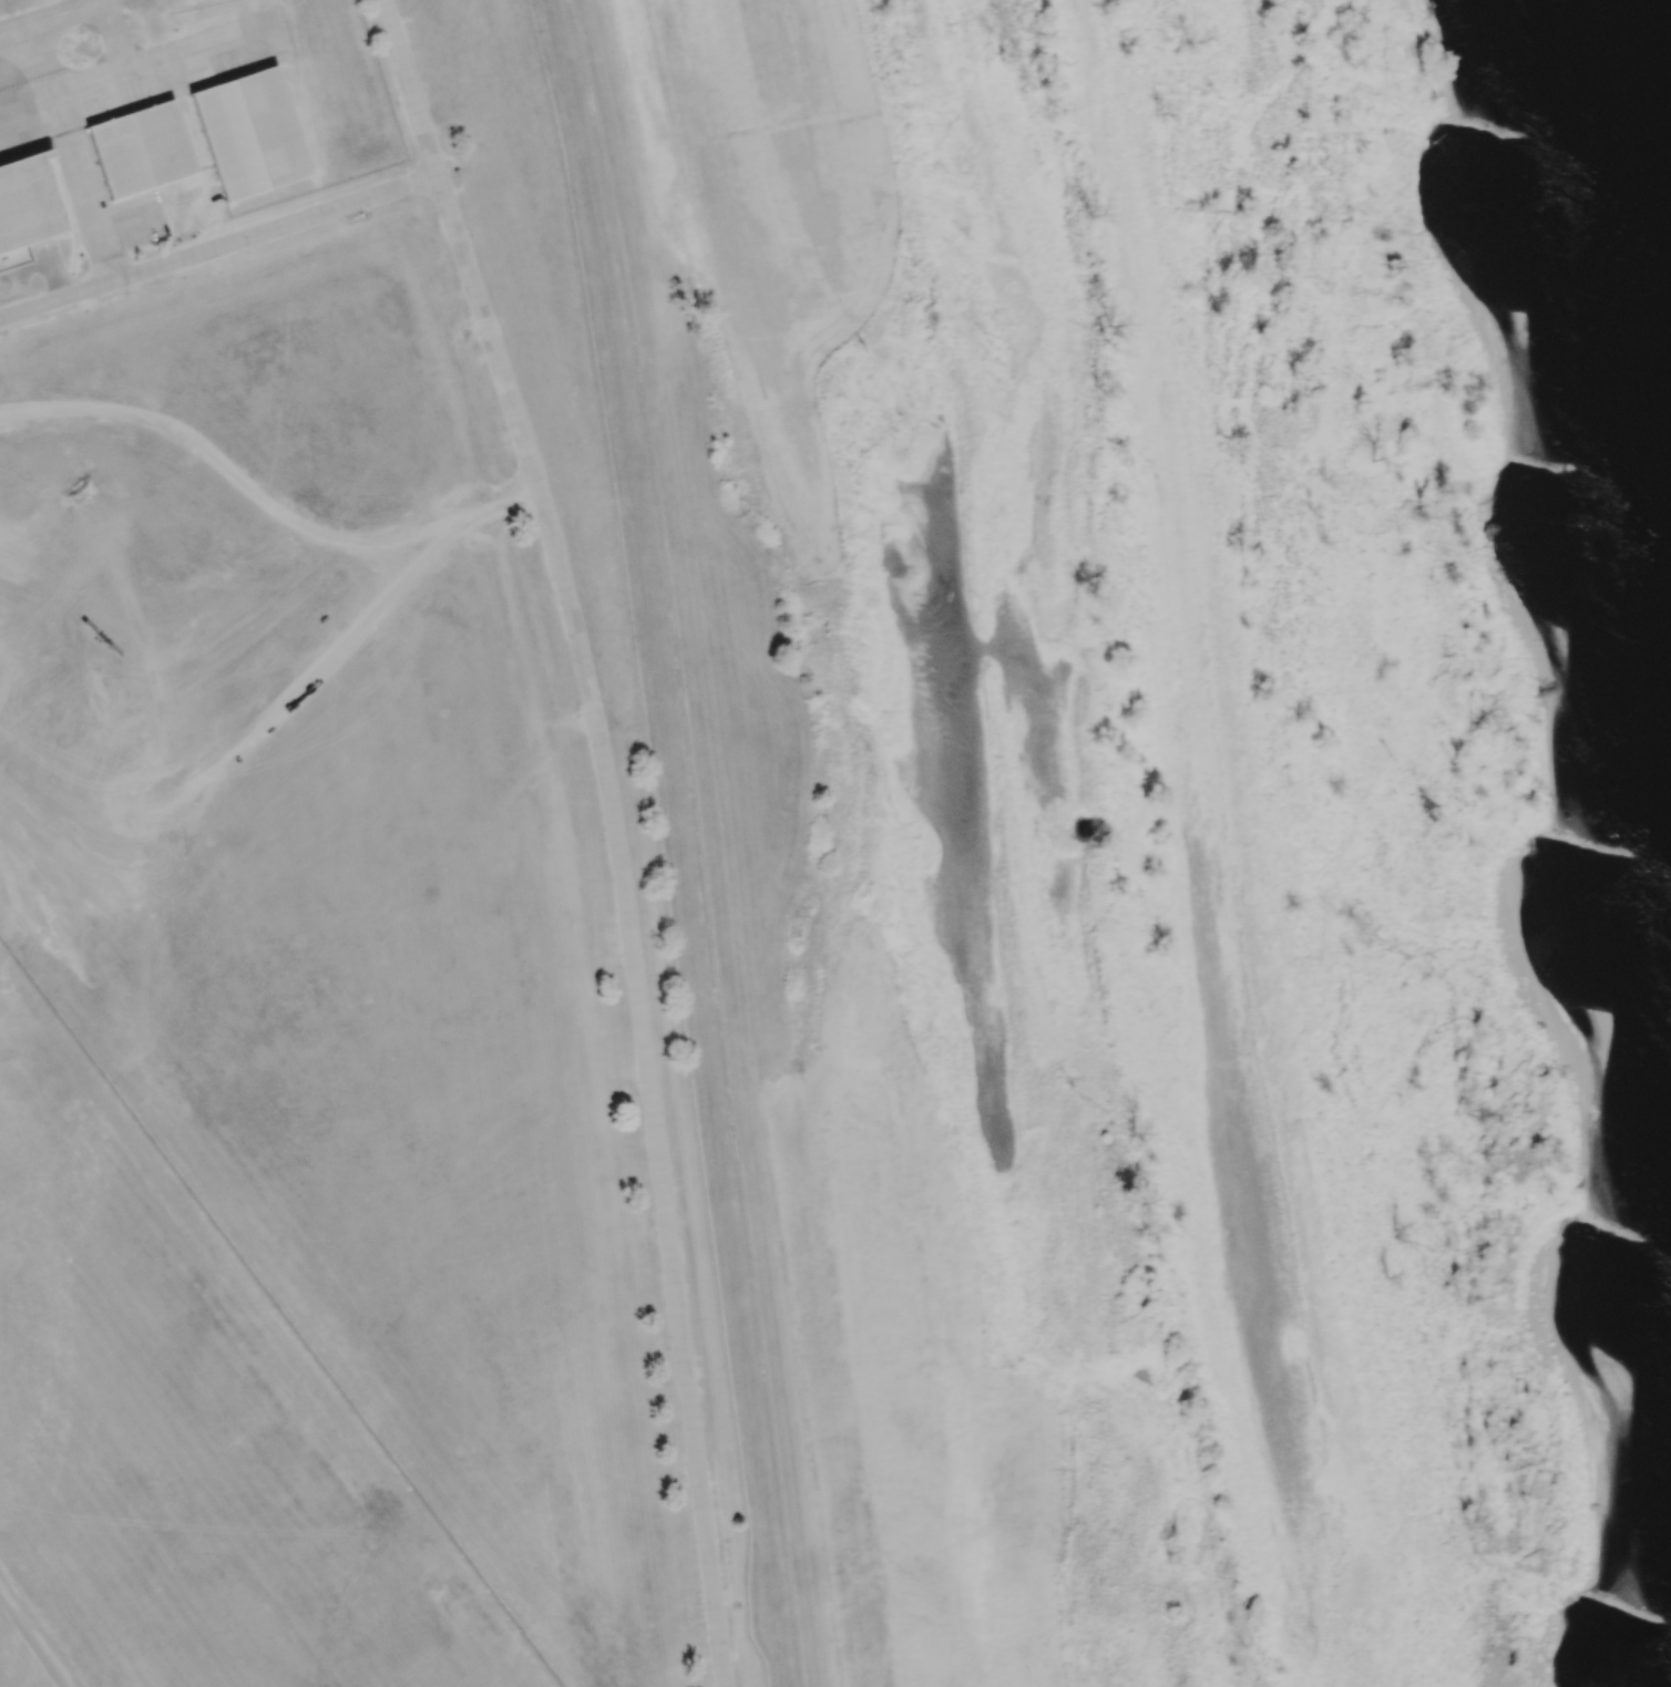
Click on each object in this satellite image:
airport taxiway: (71, 6)
airport taxiway: (106, 12)
airport taxiway: (58, 13)
airport taxiway: (119, 51)
airport taxiway: (203, 53)
airport apron: (124, 76)
road: (409, 88)
airport taxiway: (54, 99)
airport hangar: (250, 134)
building: (250, 134)
airport hangar: (141, 150)
building: (141, 150)
parking lot: (104, 203)
road: (89, 205)
airport hangar: (25, 206)
building: (25, 206)
road: (129, 223)
road: (218, 247)
parking lot: (29, 268)
road: (263, 496)
road: (268, 724)
airport: (330, 893)
road: (628, 922)
road: (35, 1636)

